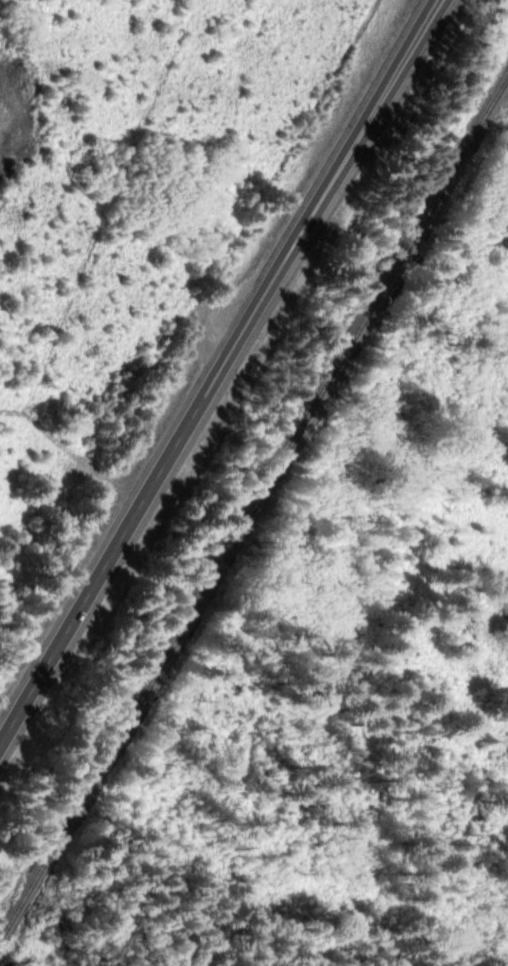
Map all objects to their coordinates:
road: (219, 369)
railway: (254, 511)

